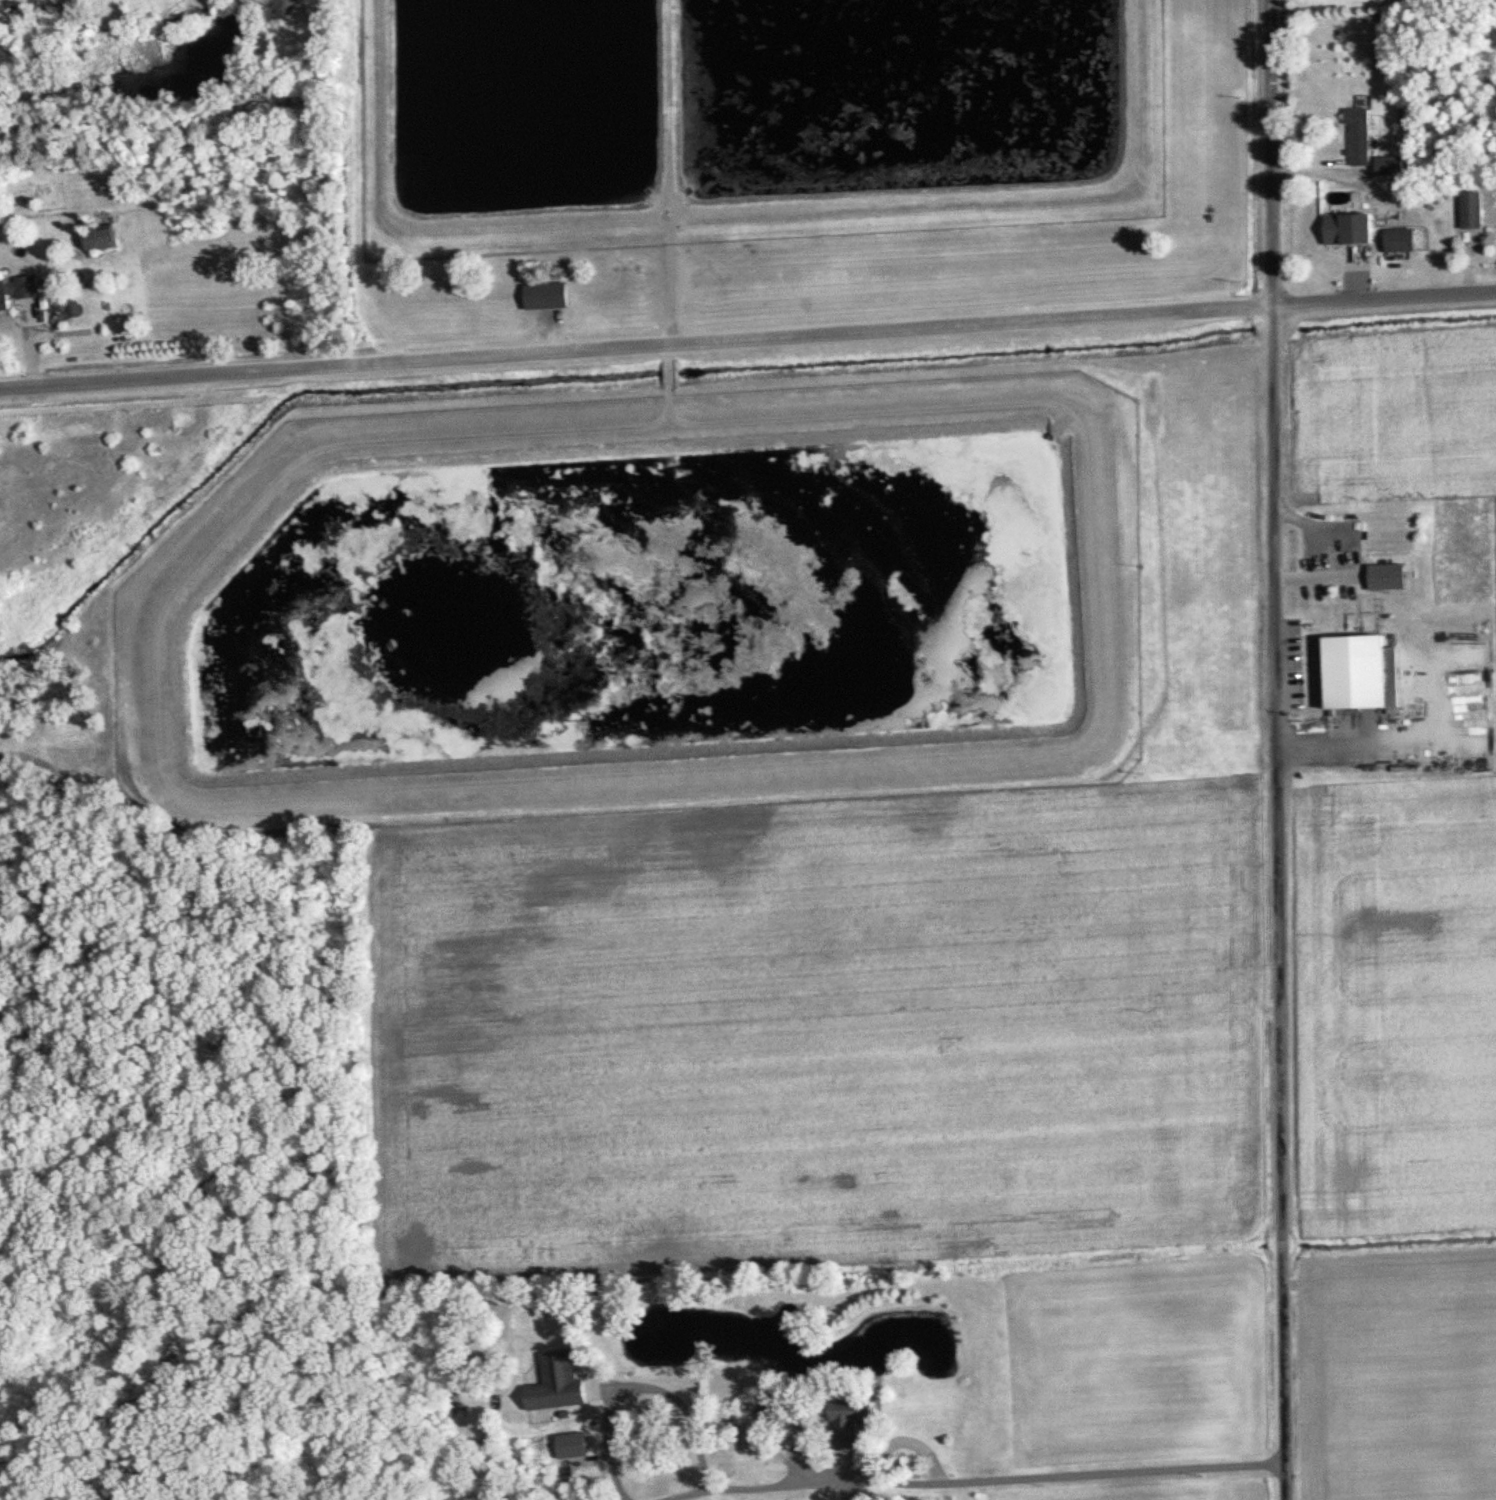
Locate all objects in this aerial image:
building: (1361, 136)
road: (1267, 153)
building: (1387, 164)
building: (1474, 209)
building: (1352, 227)
building: (102, 236)
building: (1402, 239)
building: (22, 288)
building: (550, 295)
road: (1382, 300)
road: (634, 346)
building: (1382, 581)
building: (1365, 672)
road: (1279, 903)
building: (560, 1380)
road: (638, 1387)
building: (854, 1420)
road: (971, 1479)
road: (846, 1490)

